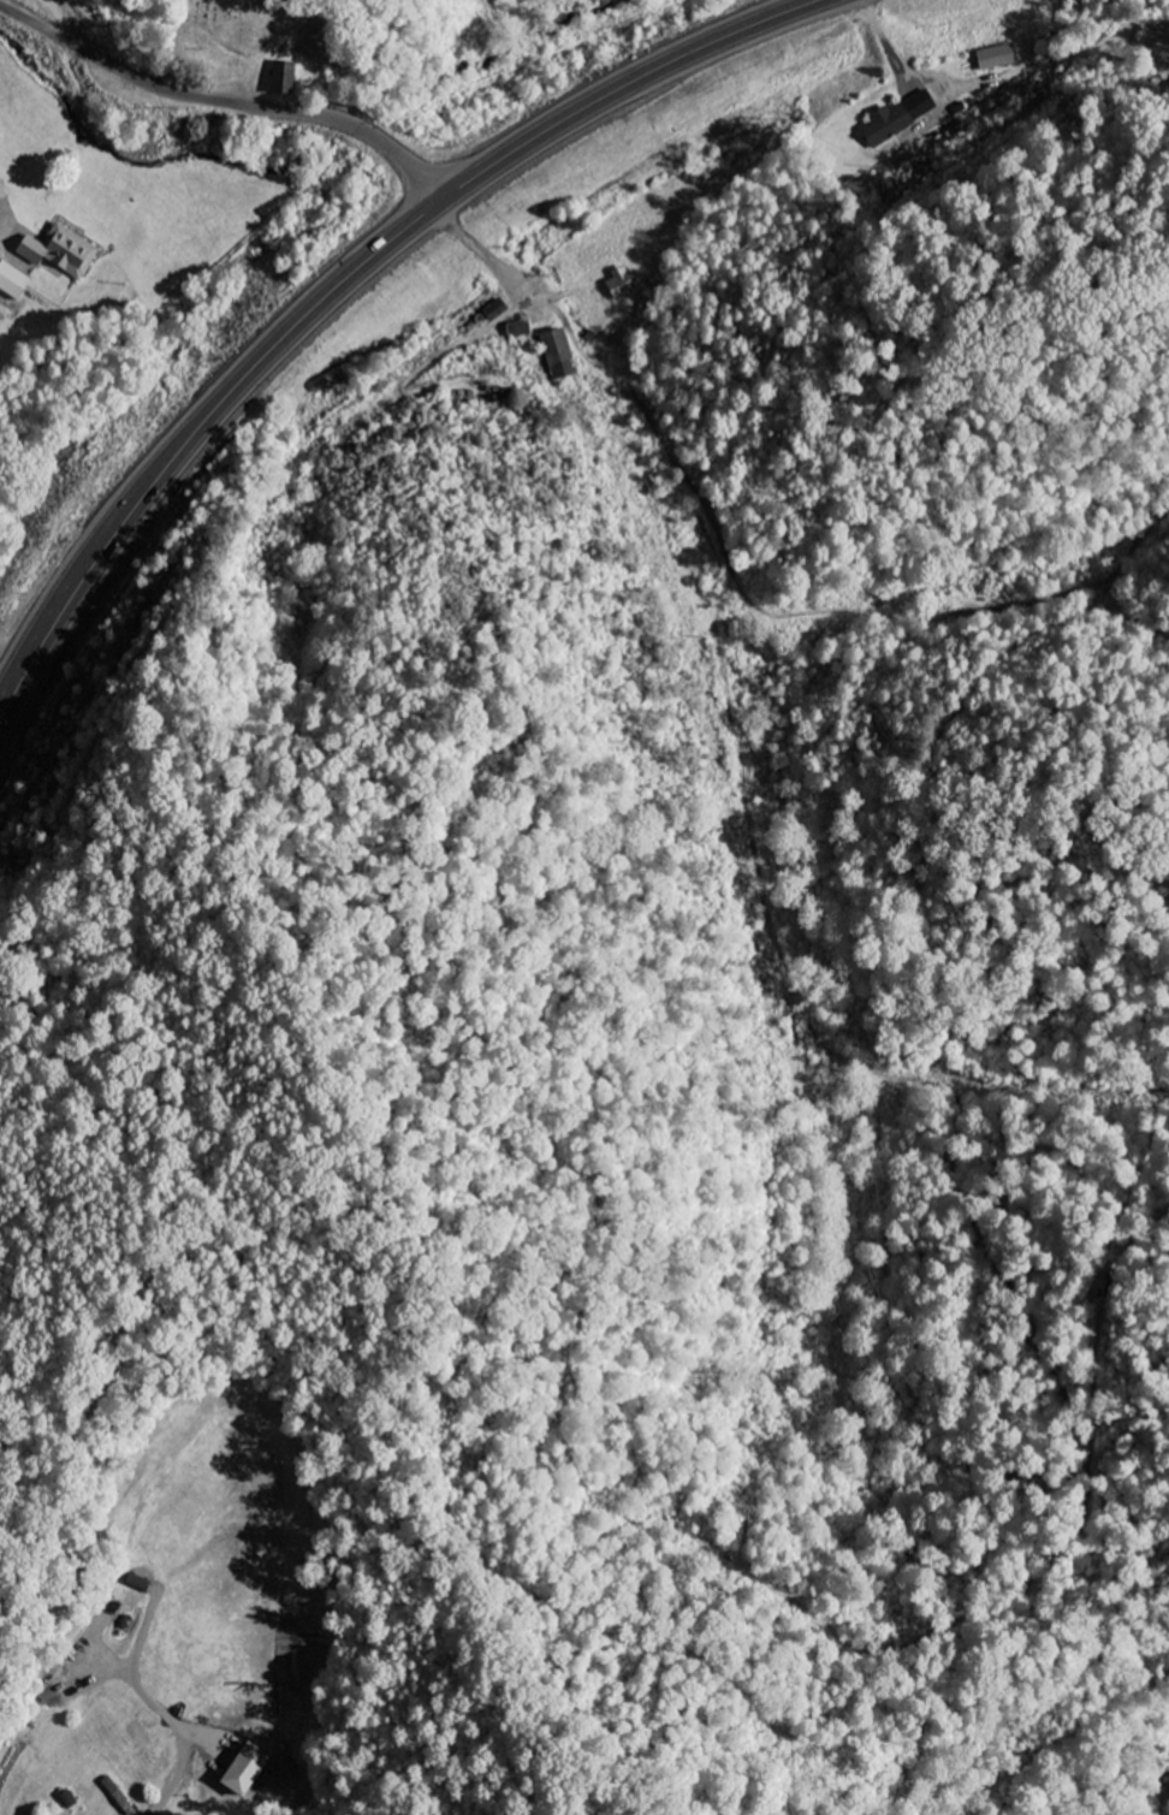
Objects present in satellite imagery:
building: (995, 58)
building: (281, 79)
road: (225, 103)
building: (898, 118)
building: (60, 251)
road: (343, 279)
building: (12, 280)
building: (621, 281)
building: (494, 309)
building: (518, 328)
building: (557, 354)
road: (156, 1707)
building: (243, 1770)

